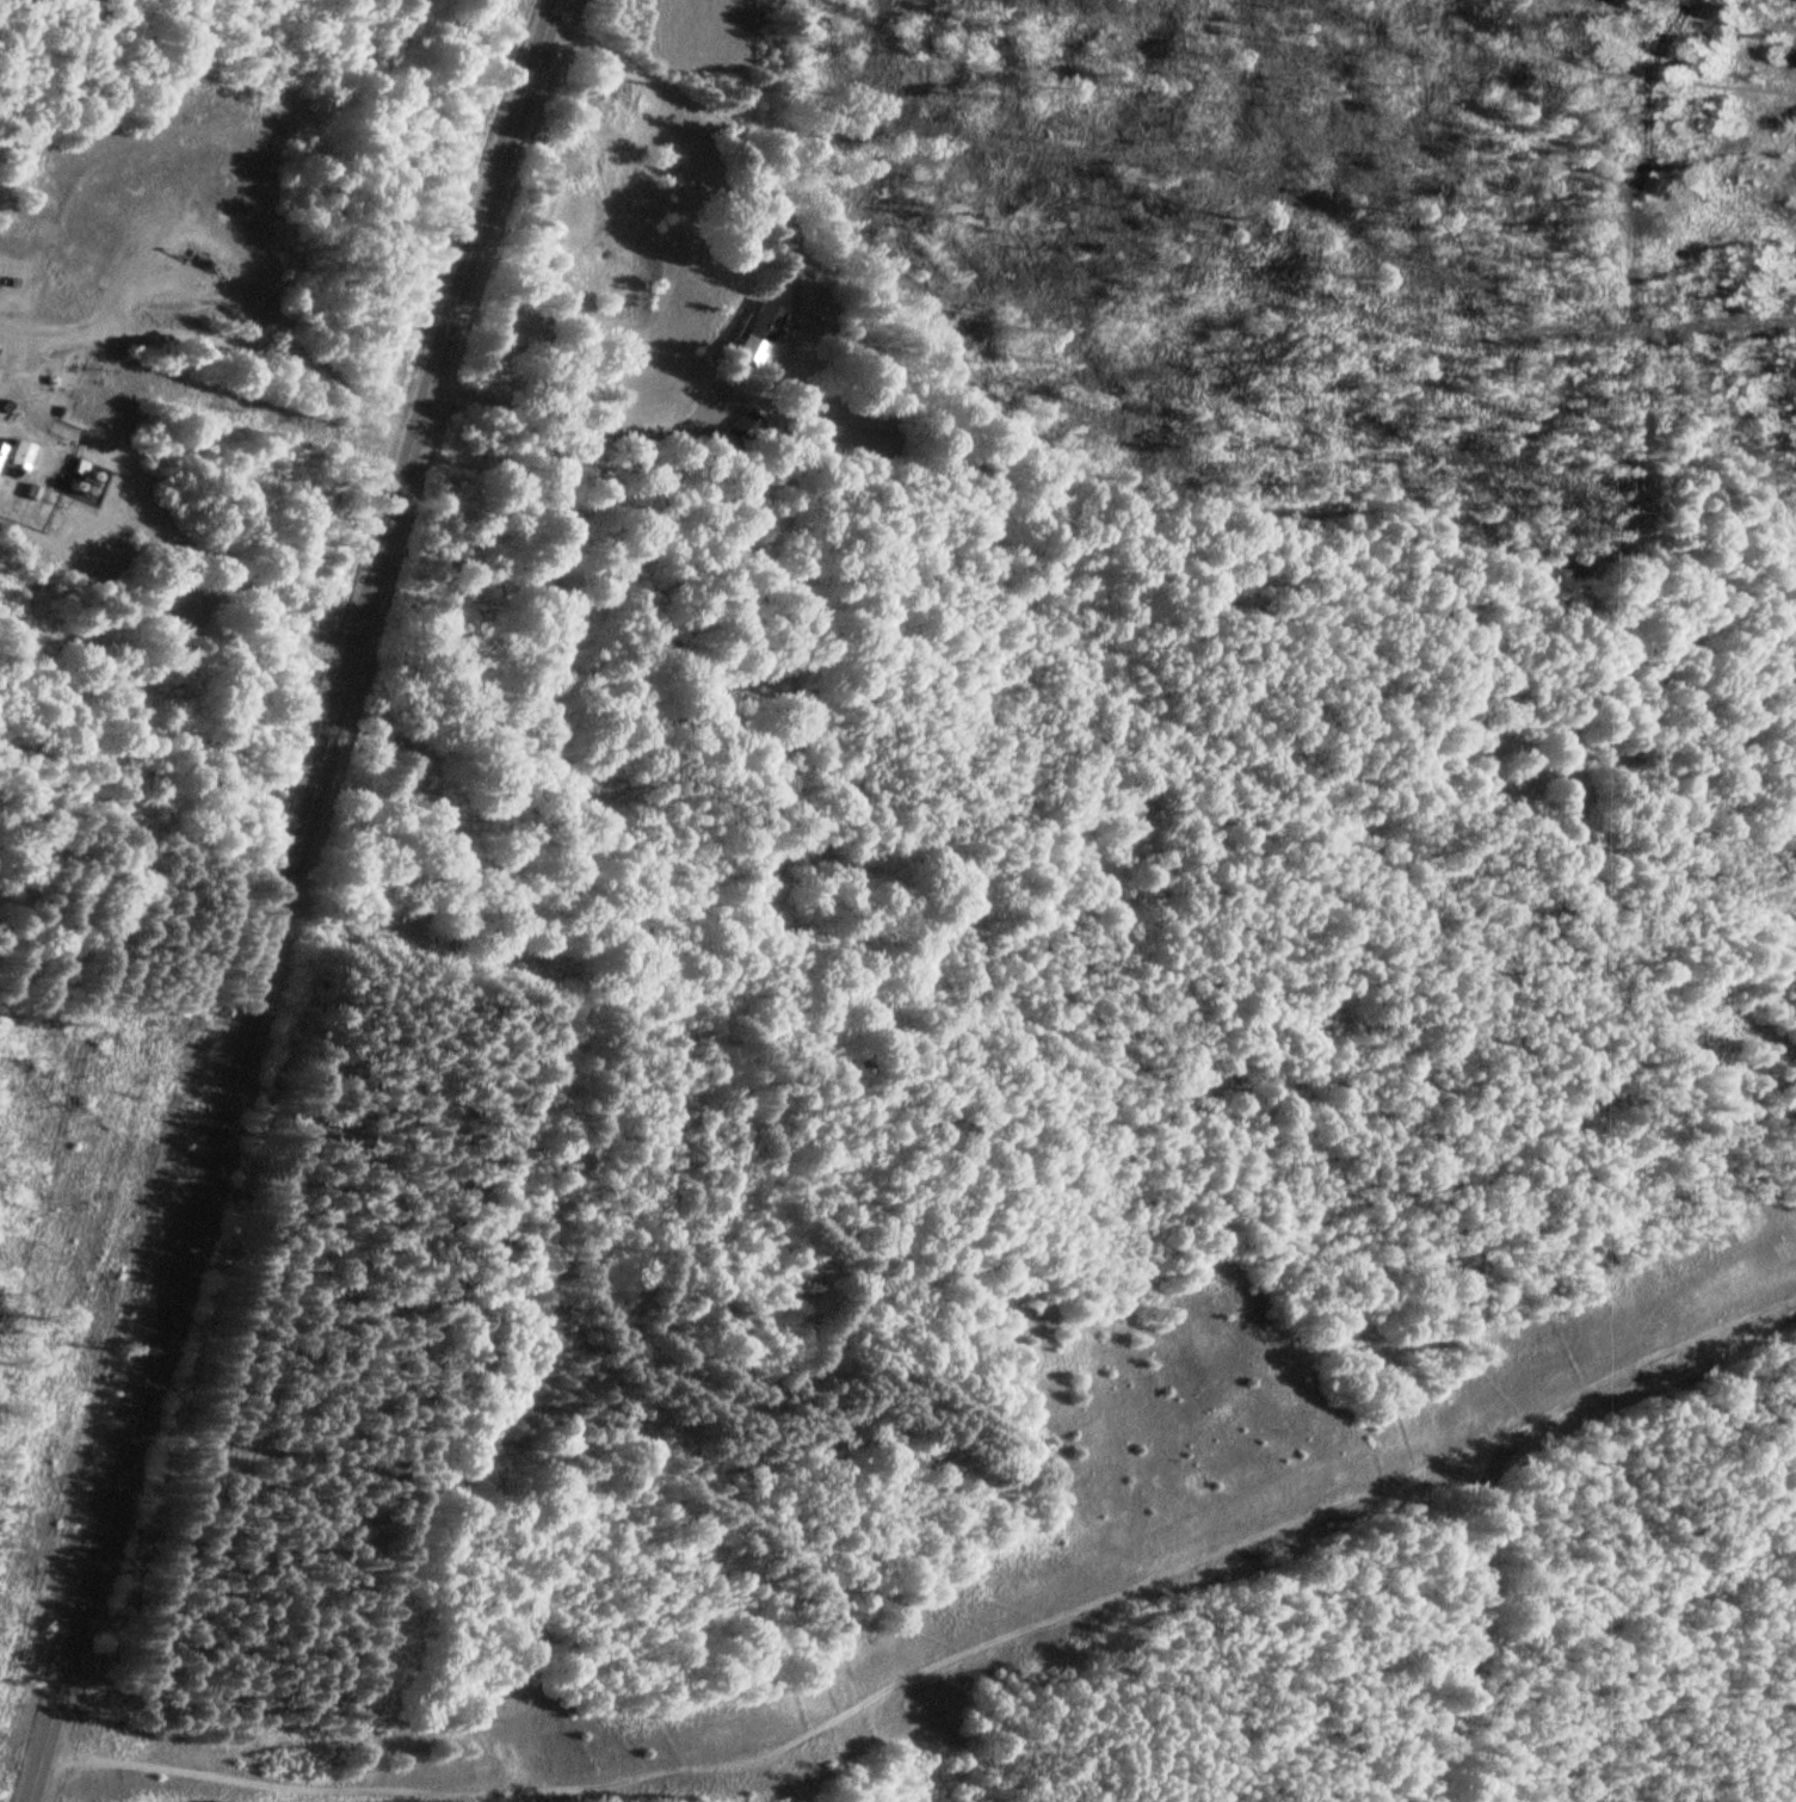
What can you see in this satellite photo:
building: (760, 329)
building: (747, 424)
building: (53, 430)
road: (613, 433)
building: (1, 450)
building: (19, 456)
building: (184, 612)
road: (290, 897)
road: (1650, 1376)
road: (1477, 1618)
road: (977, 1650)

